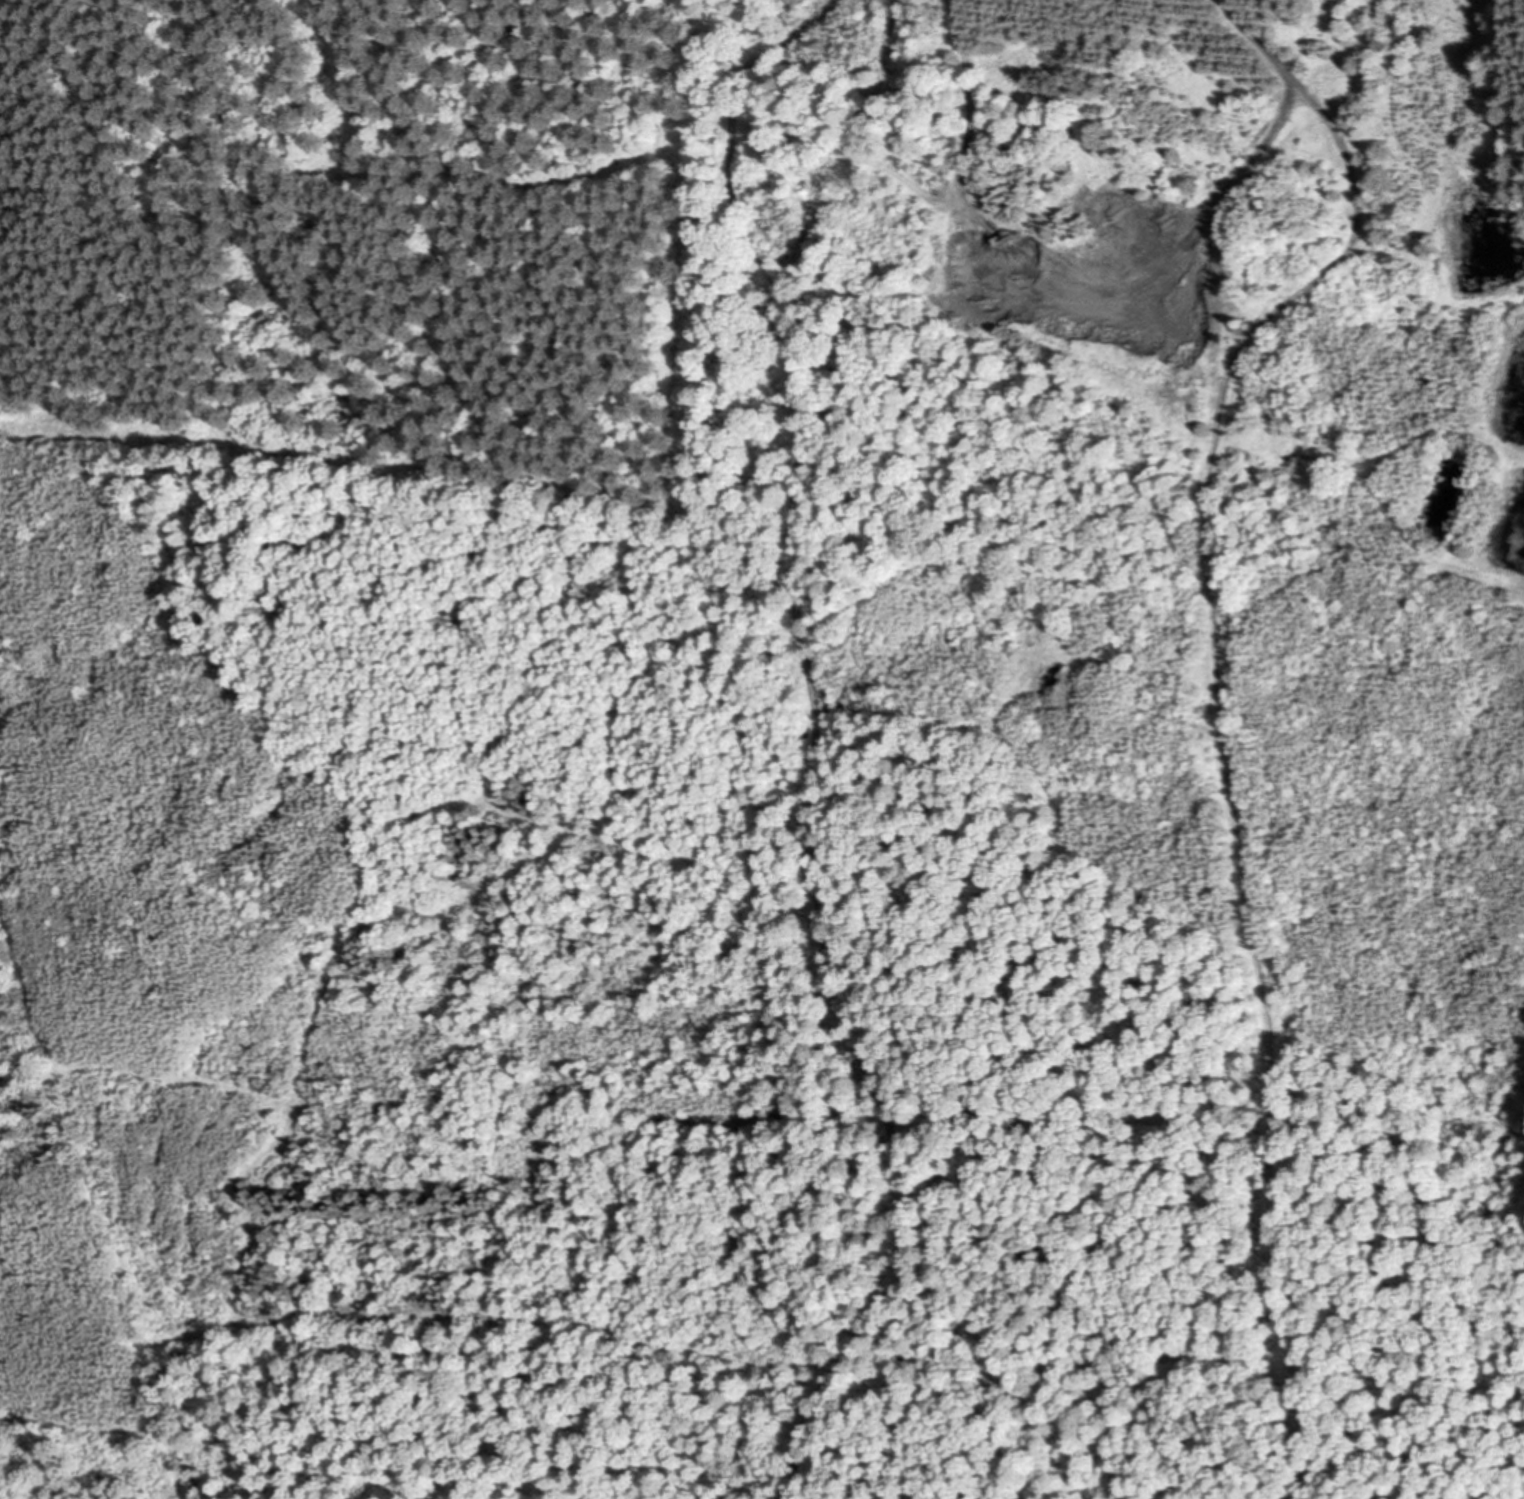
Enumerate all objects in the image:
road: (1353, 183)
road: (812, 746)
road: (1251, 927)

